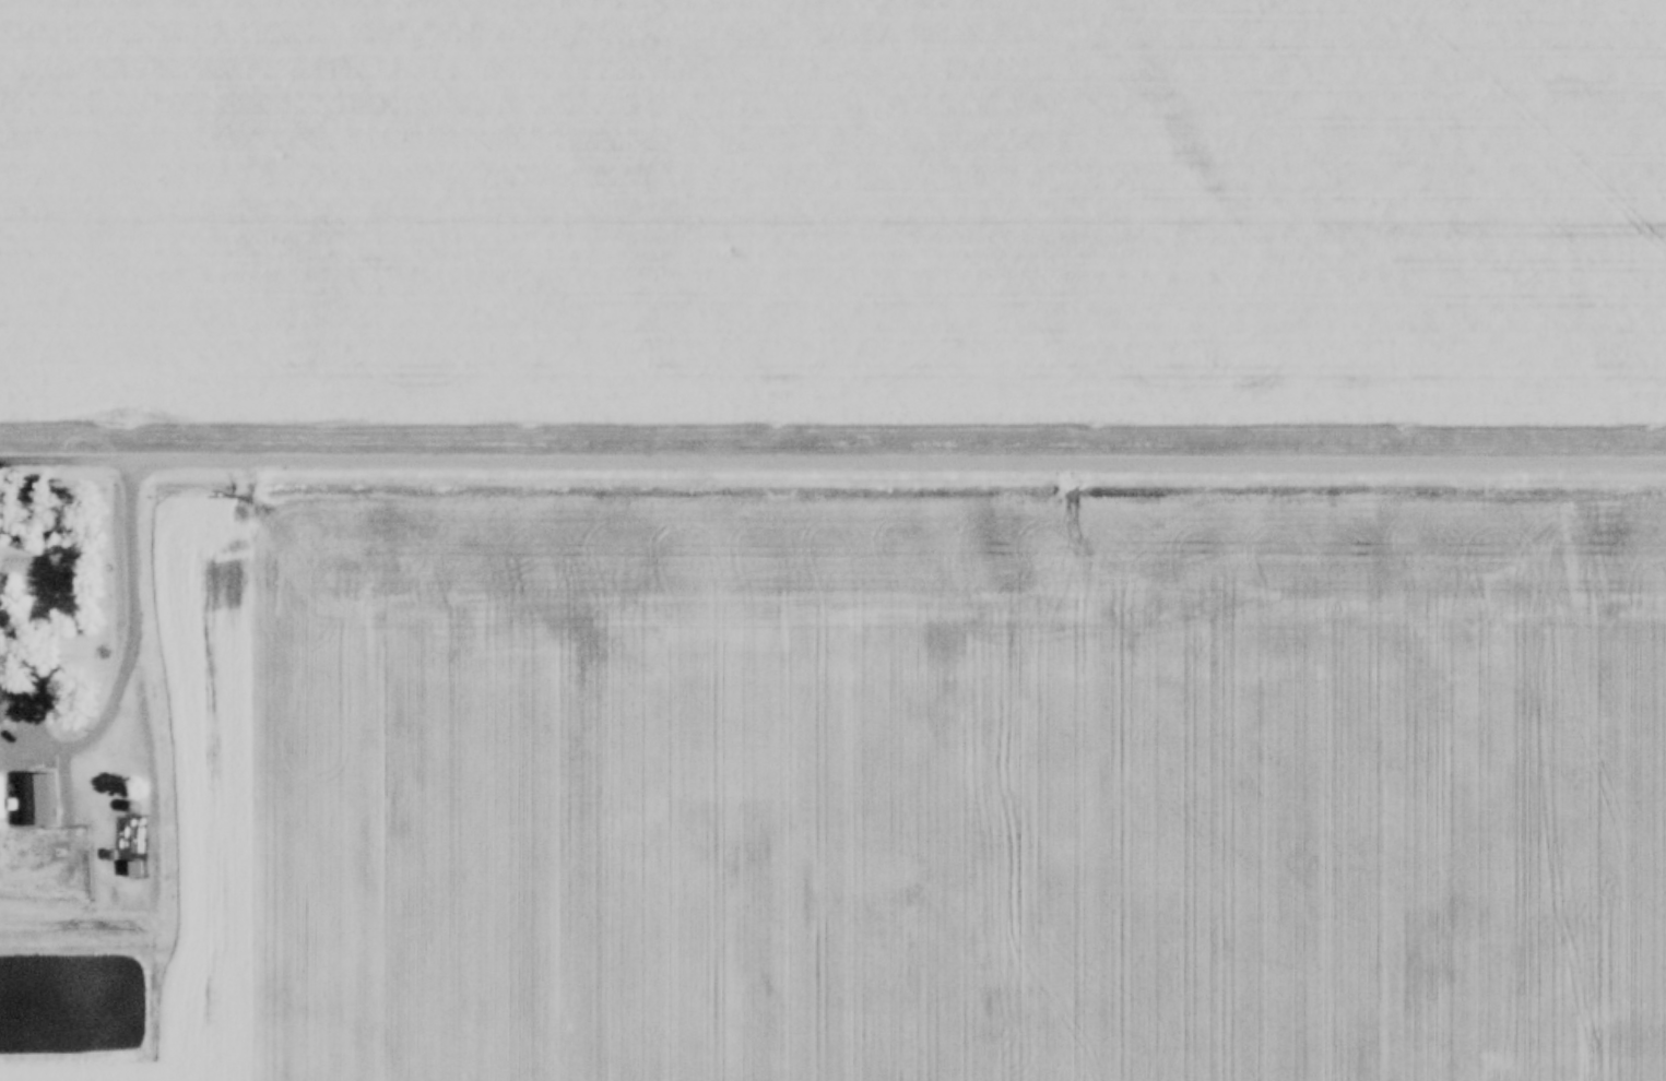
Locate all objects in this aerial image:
building: (25, 696)
building: (43, 799)

